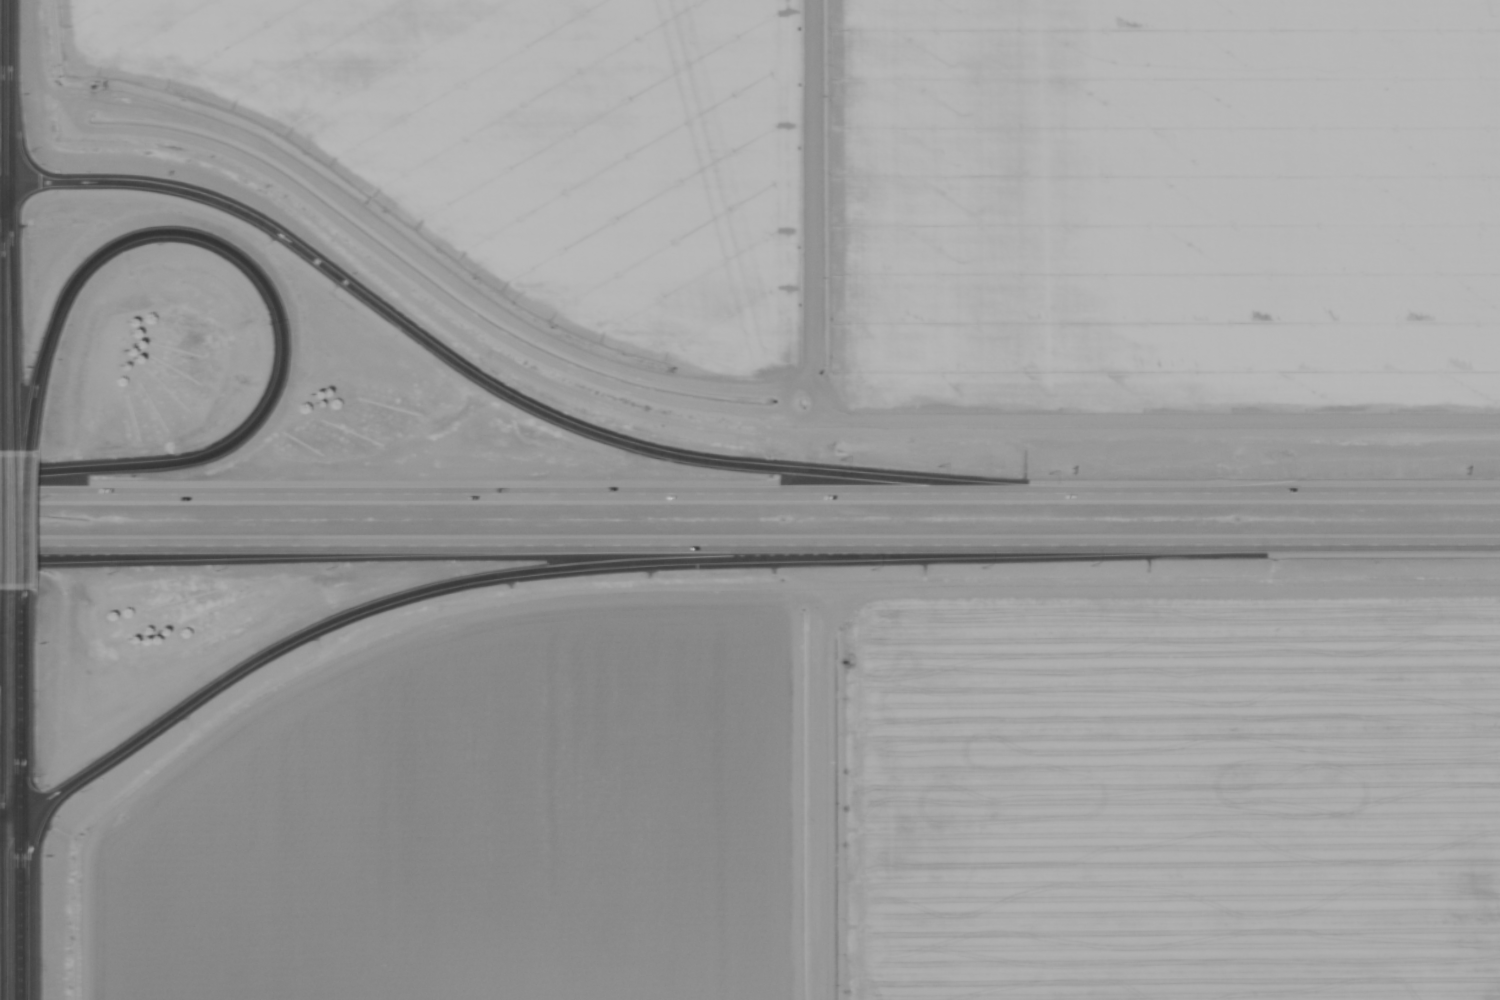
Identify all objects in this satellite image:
road: (2, 59)
road: (1, 123)
road: (3, 154)
road: (2, 190)
road: (256, 281)
road: (6, 329)
road: (551, 418)
road: (750, 494)
road: (11, 529)
road: (750, 546)
road: (130, 554)
road: (473, 581)
road: (5, 625)
road: (8, 704)
road: (3, 820)
road: (6, 909)

